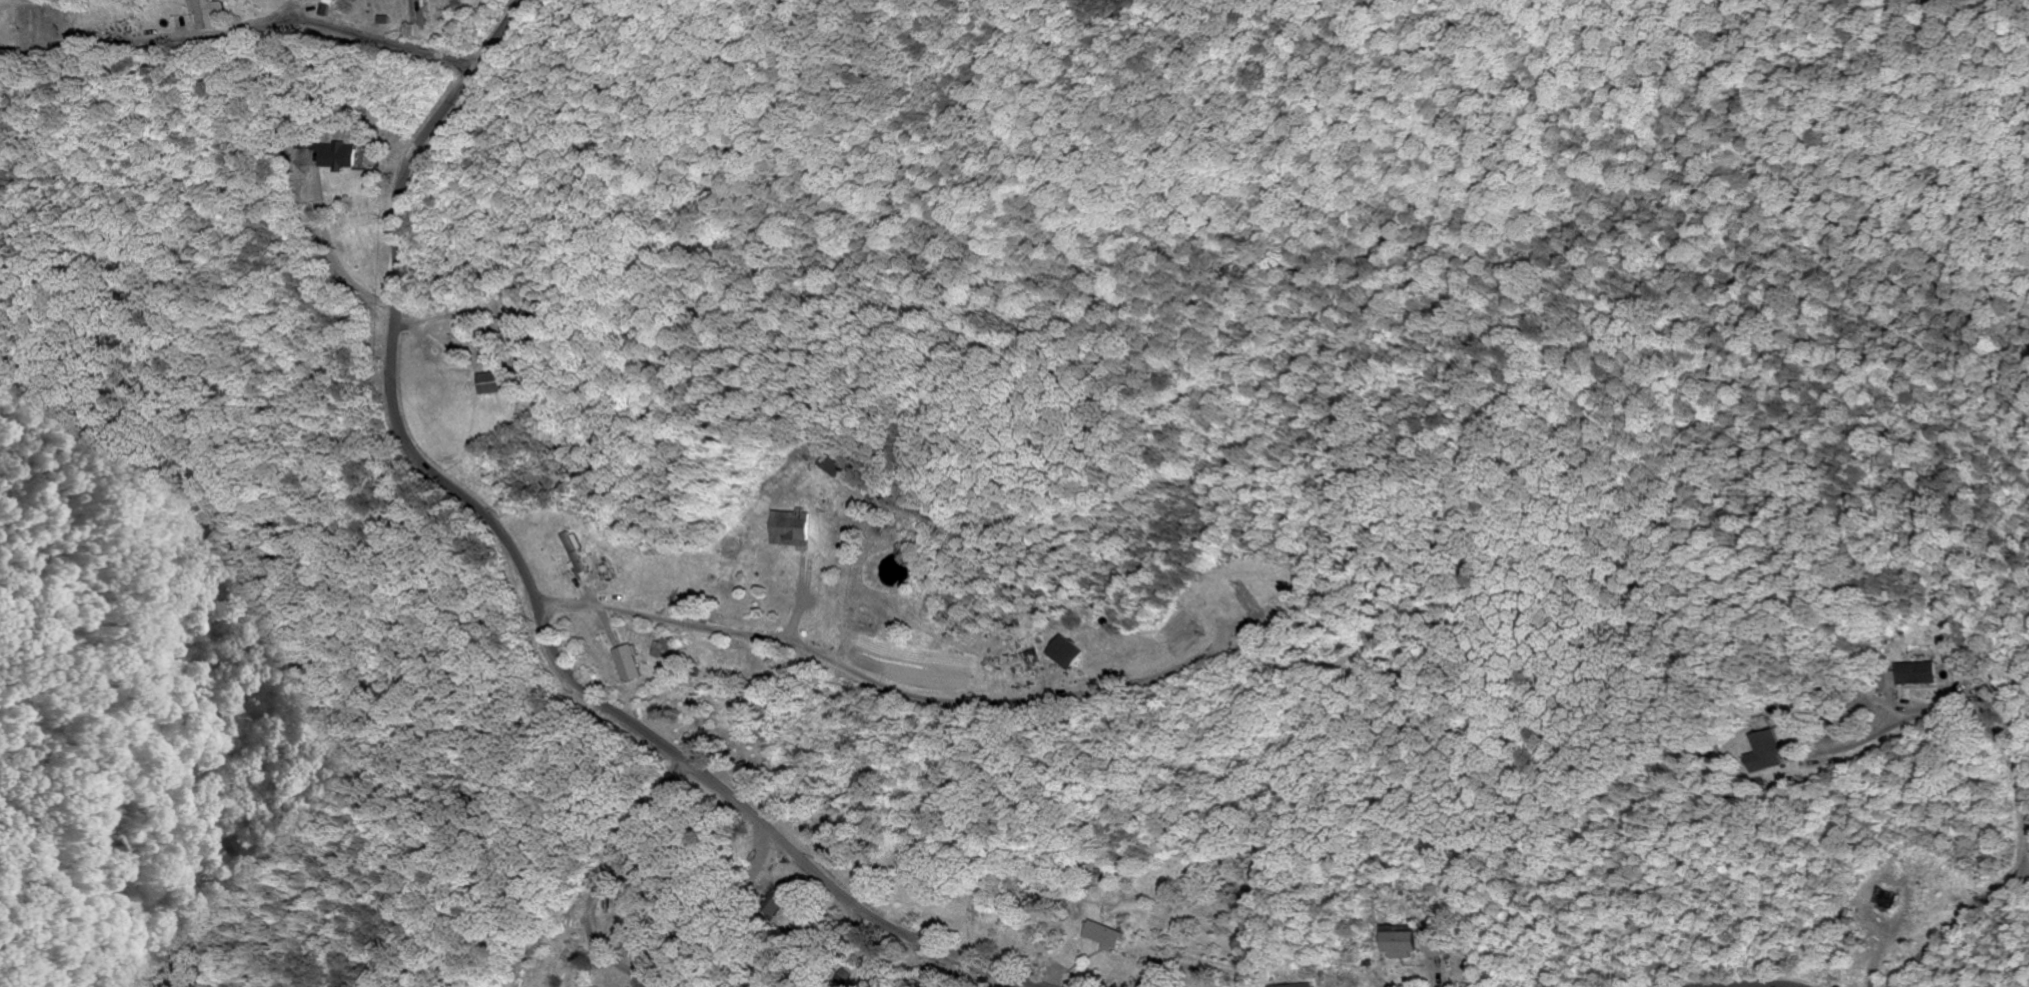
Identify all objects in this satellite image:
building: (209, 14)
road: (372, 38)
building: (337, 157)
building: (525, 303)
building: (493, 384)
building: (789, 530)
building: (575, 553)
road: (536, 576)
building: (658, 649)
building: (1066, 654)
road: (833, 660)
building: (627, 665)
building: (1919, 673)
building: (1891, 679)
building: (1768, 753)
road: (1024, 776)
road: (605, 864)
building: (778, 907)
road: (1953, 924)
building: (1103, 935)
building: (1402, 943)
building: (1295, 986)
road: (1755, 986)

